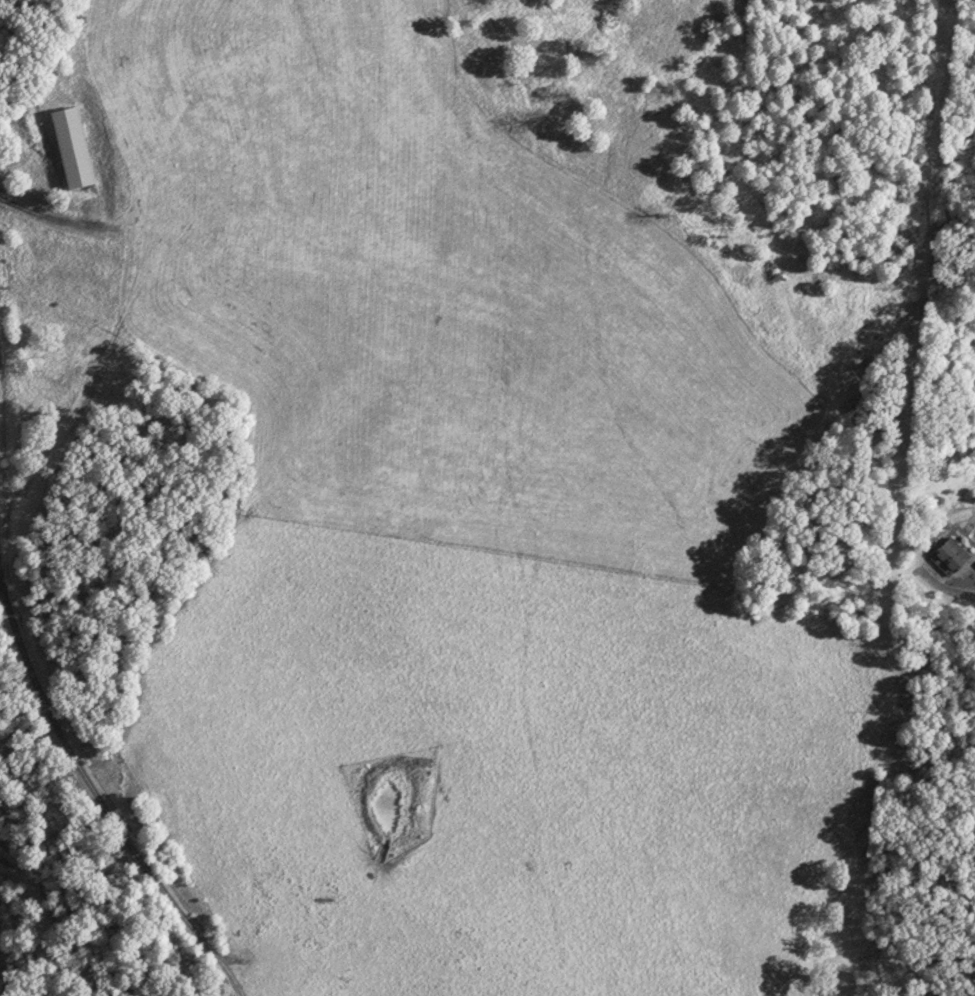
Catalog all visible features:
road: (4, 485)

